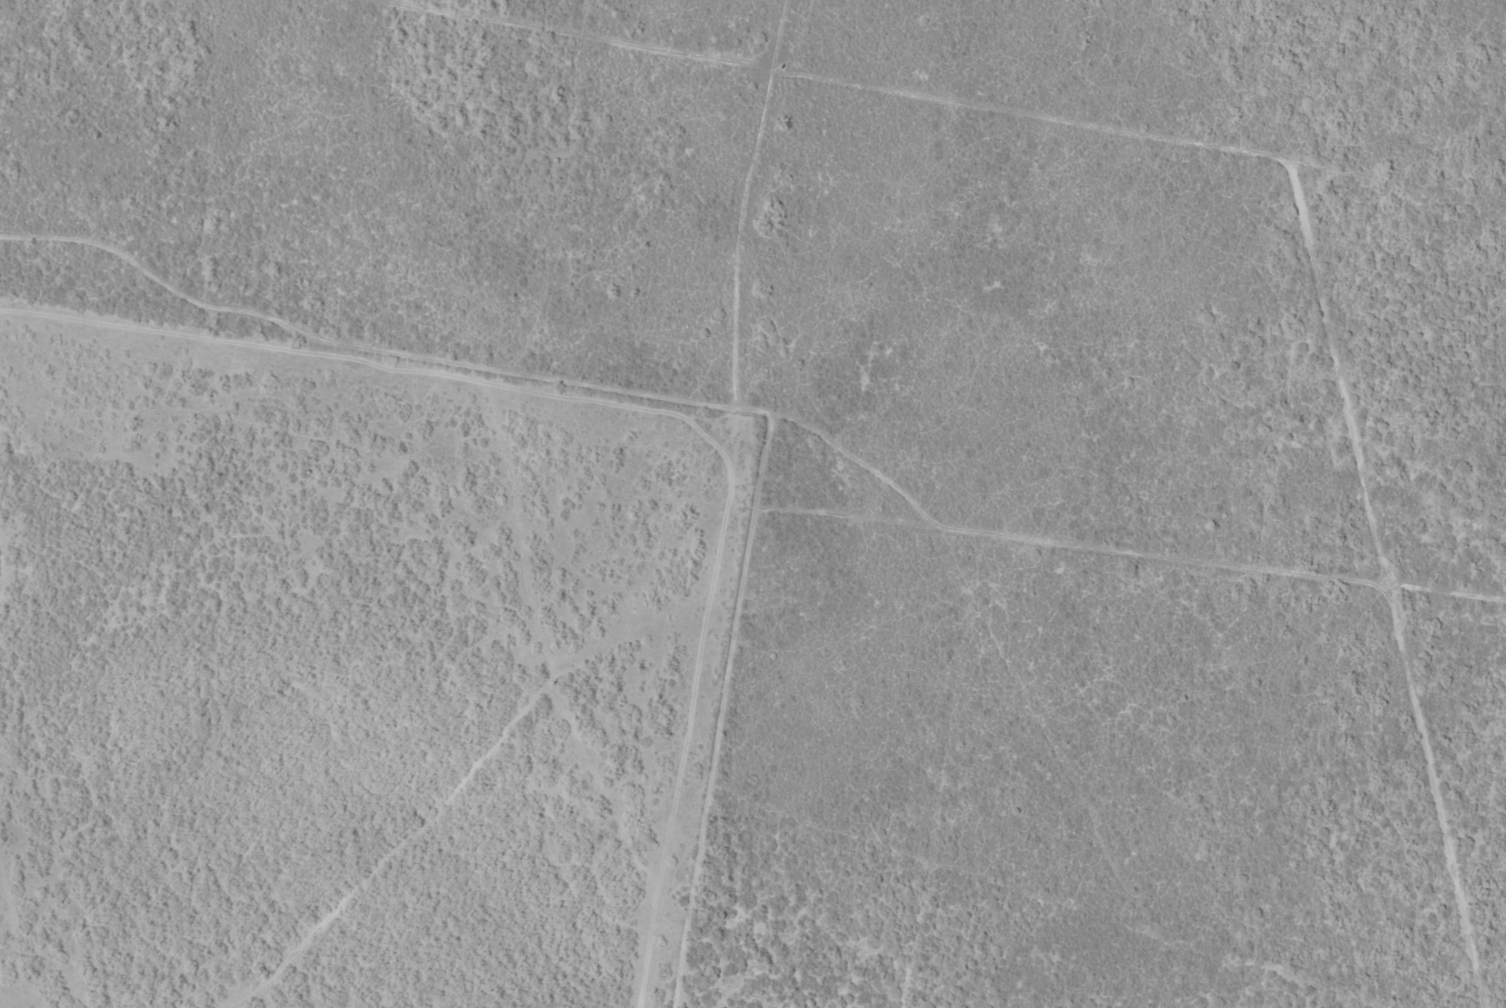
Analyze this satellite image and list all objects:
road: (1048, 746)

